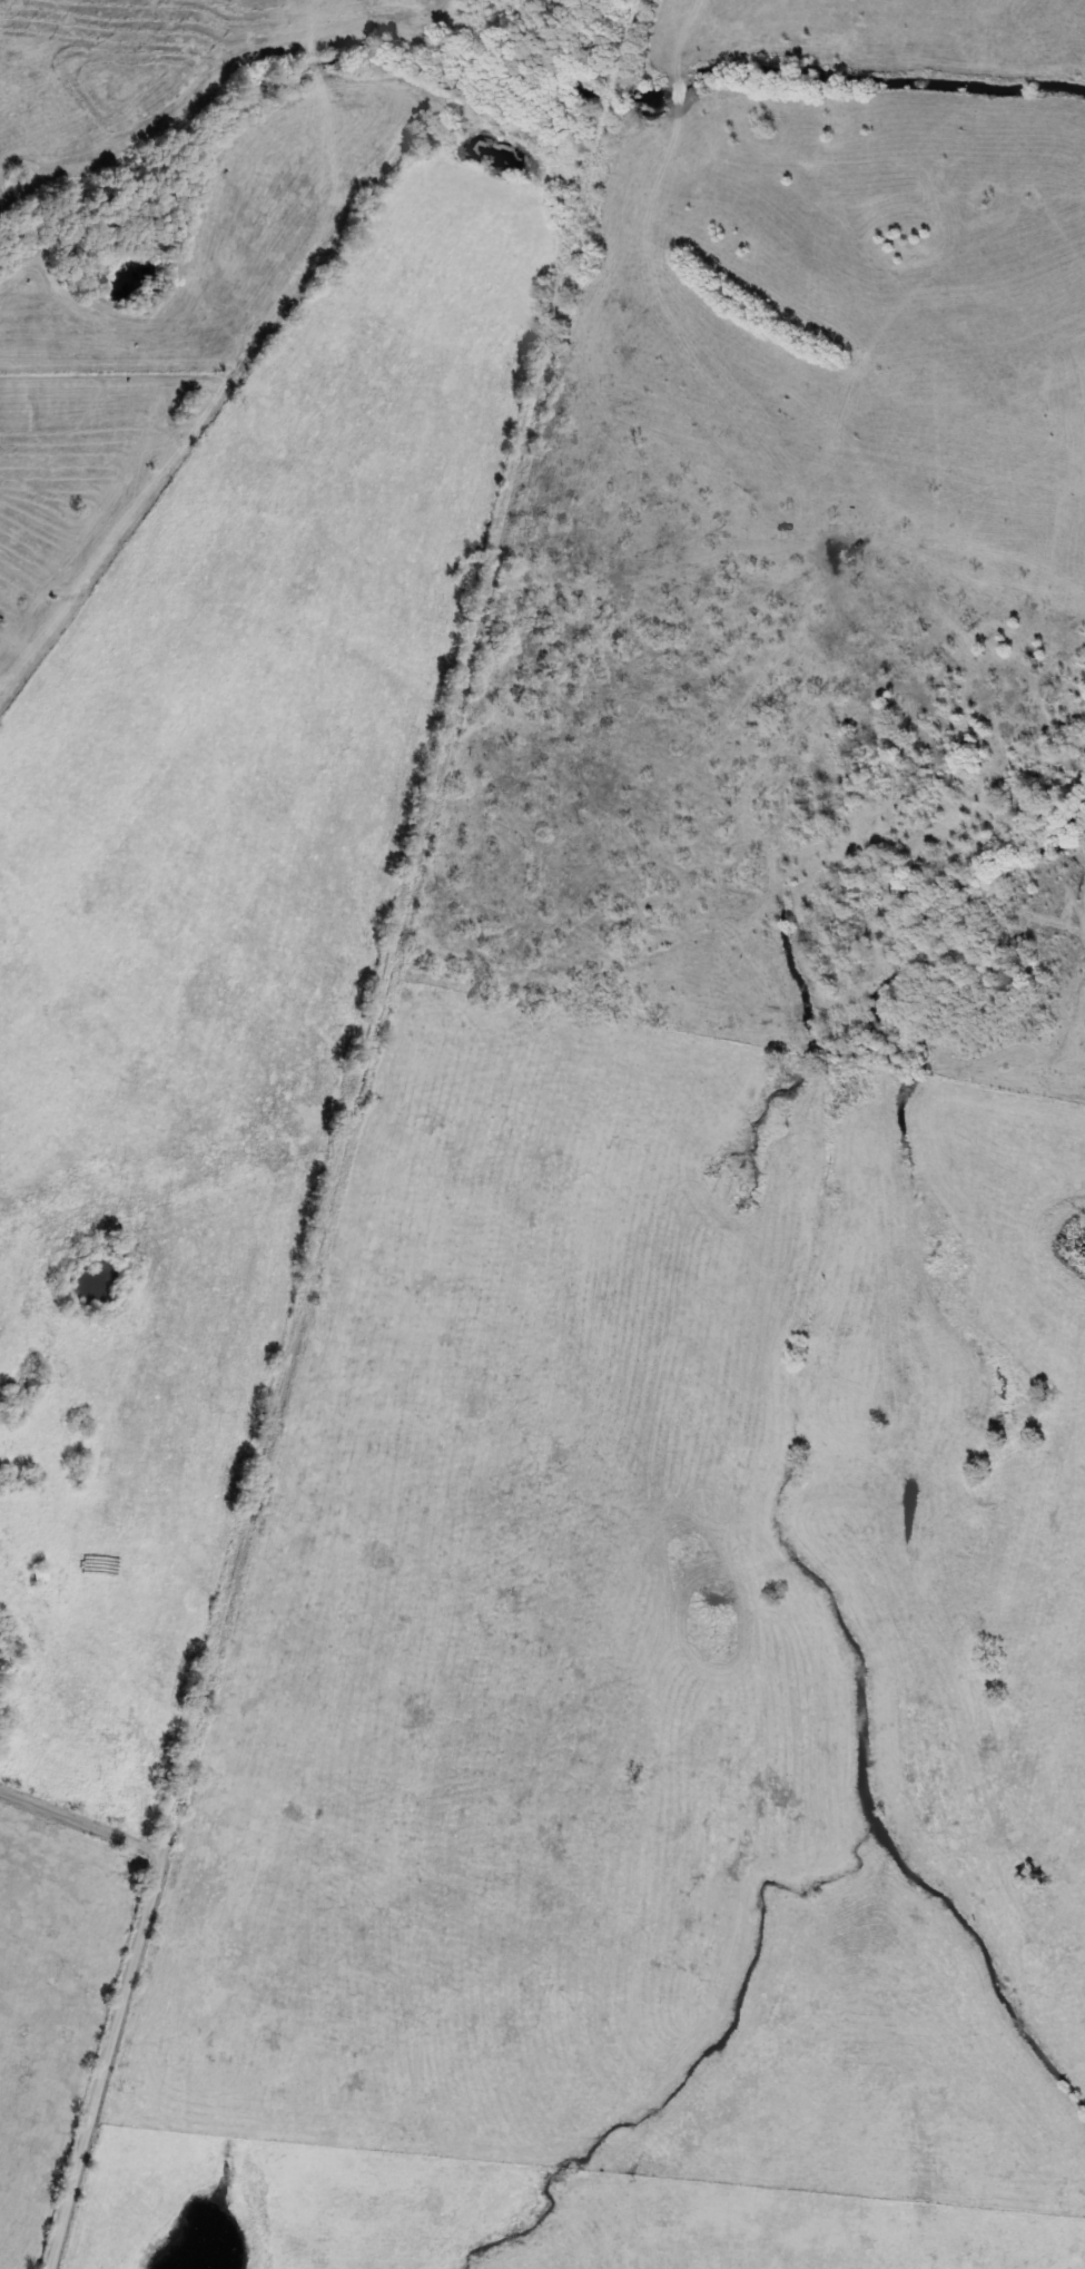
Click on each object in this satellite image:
road: (613, 88)
road: (576, 224)
road: (309, 1270)
building: (38, 1574)
road: (80, 1820)

